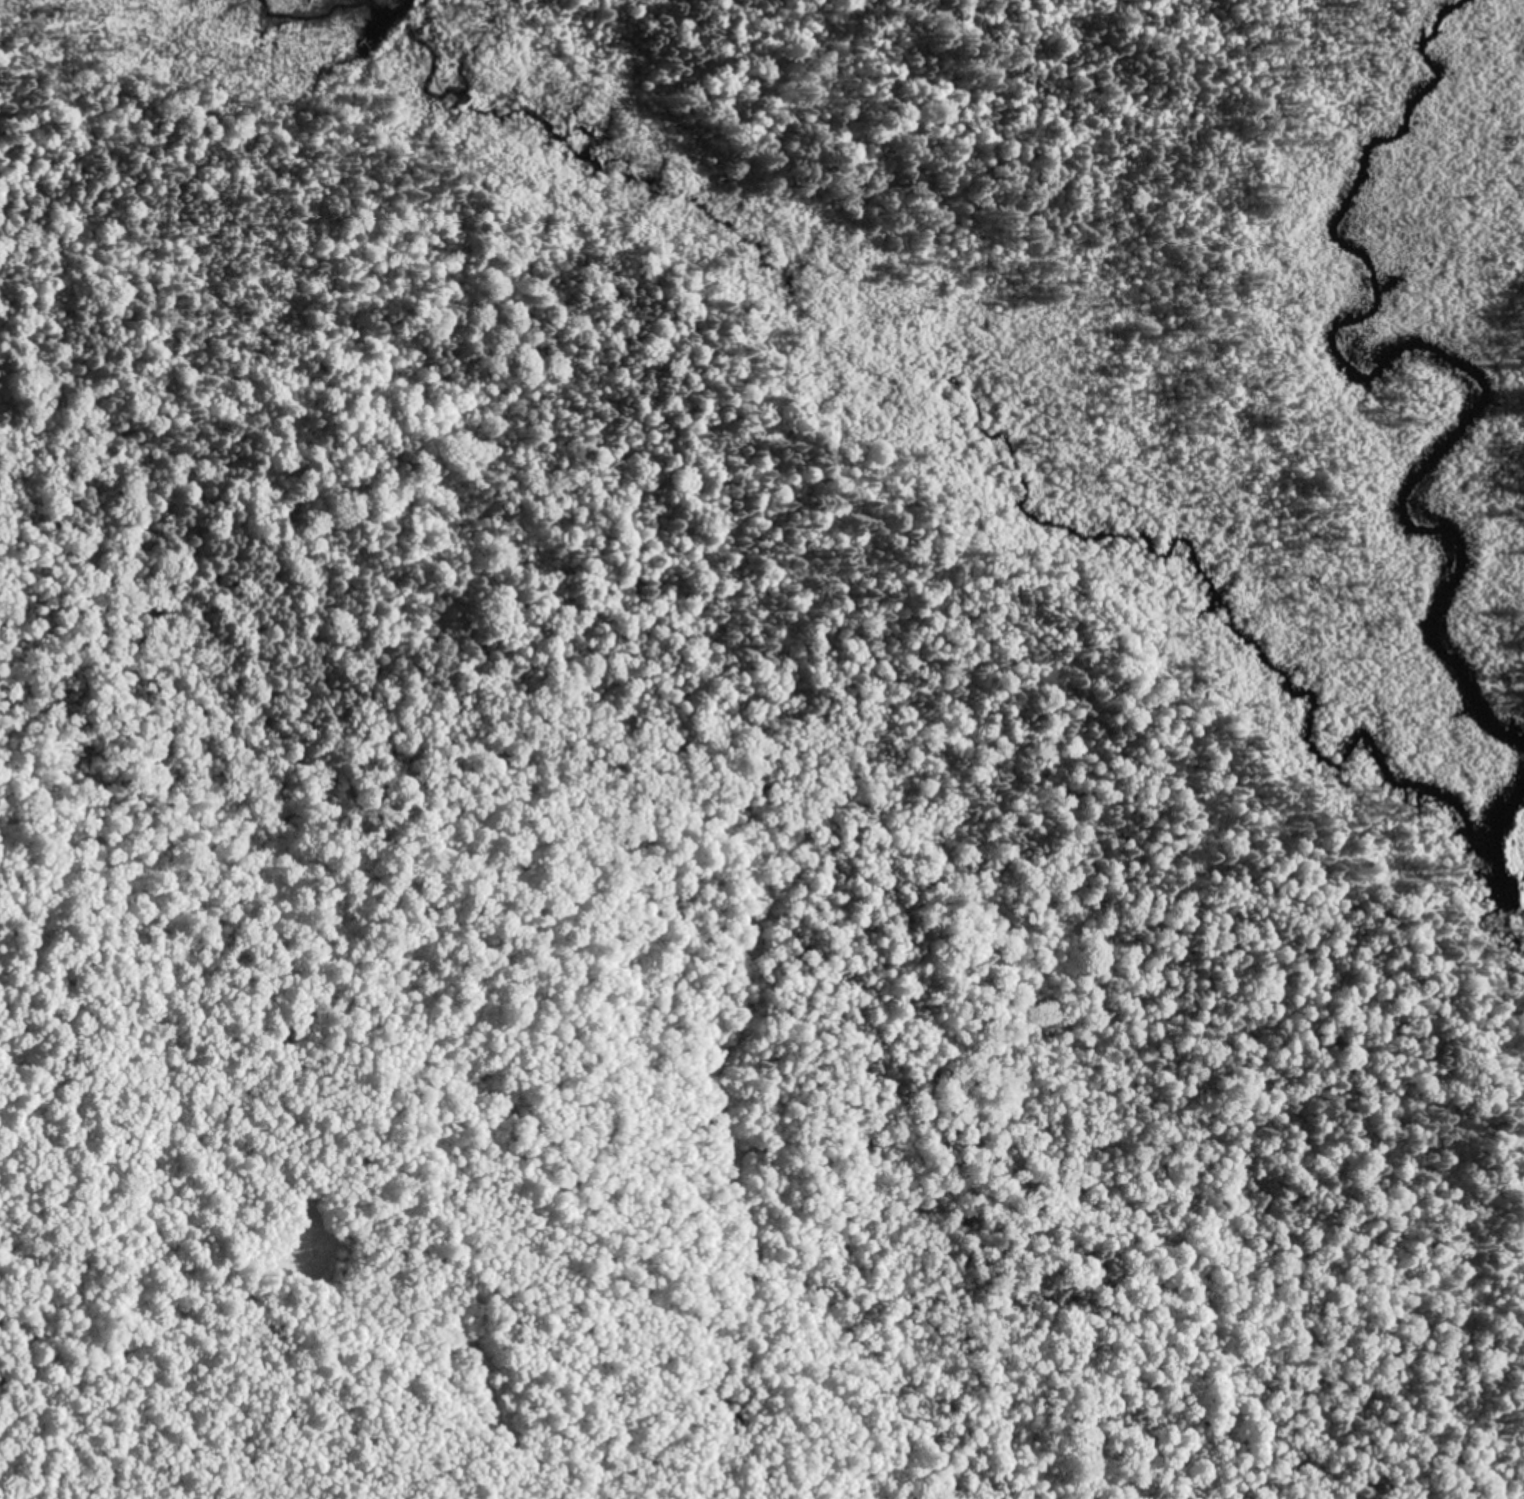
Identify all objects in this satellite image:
road: (190, 1330)

